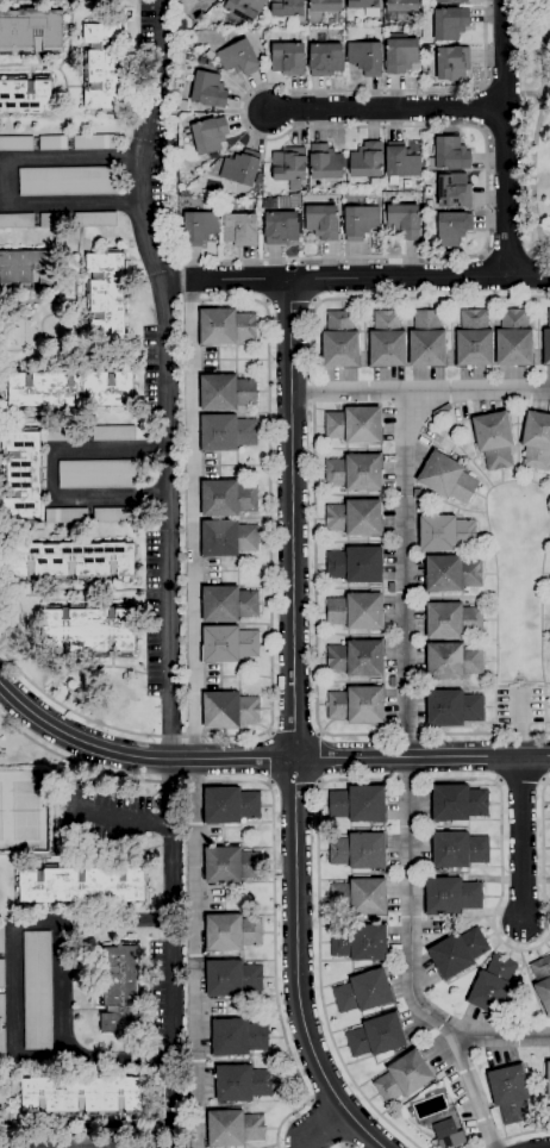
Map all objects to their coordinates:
building: (196, 0)
building: (198, 0)
building: (450, 1)
building: (324, 6)
building: (401, 6)
building: (364, 7)
building: (244, 8)
building: (287, 8)
building: (450, 24)
building: (181, 25)
building: (31, 32)
building: (417, 32)
road: (542, 46)
building: (210, 55)
building: (401, 55)
building: (239, 58)
building: (287, 58)
building: (364, 58)
building: (325, 60)
building: (201, 61)
building: (452, 64)
building: (104, 67)
building: (208, 89)
road: (526, 94)
building: (25, 95)
road: (382, 111)
park: (535, 124)
road: (393, 126)
building: (208, 136)
road: (502, 138)
building: (94, 142)
building: (54, 143)
building: (15, 144)
building: (449, 155)
building: (367, 161)
building: (400, 162)
building: (324, 163)
building: (288, 167)
road: (533, 167)
building: (240, 168)
building: (257, 179)
building: (67, 181)
road: (5, 183)
building: (454, 192)
building: (215, 202)
building: (269, 205)
building: (94, 219)
building: (358, 219)
building: (15, 220)
building: (54, 220)
building: (404, 220)
building: (323, 222)
building: (199, 227)
building: (238, 227)
building: (280, 227)
building: (449, 227)
road: (537, 244)
road: (506, 252)
building: (25, 267)
road: (370, 277)
building: (106, 297)
road: (390, 299)
road: (289, 304)
building: (225, 327)
building: (474, 339)
building: (514, 339)
building: (387, 341)
building: (427, 341)
building: (340, 342)
building: (546, 342)
road: (164, 376)
building: (70, 387)
road: (420, 391)
building: (226, 393)
building: (354, 425)
building: (113, 433)
building: (226, 433)
building: (62, 435)
building: (494, 441)
building: (536, 441)
building: (21, 474)
road: (51, 474)
building: (96, 474)
building: (355, 474)
building: (448, 479)
building: (227, 498)
road: (269, 510)
building: (65, 516)
building: (115, 516)
building: (355, 518)
building: (445, 534)
building: (227, 538)
building: (74, 561)
building: (355, 566)
building: (451, 574)
road: (313, 597)
road: (519, 597)
building: (229, 604)
building: (356, 612)
building: (452, 620)
building: (88, 630)
building: (227, 644)
building: (356, 659)
building: (452, 662)
building: (356, 705)
building: (454, 709)
building: (229, 710)
road: (69, 711)
road: (193, 713)
road: (519, 722)
road: (293, 726)
road: (294, 731)
road: (471, 735)
road: (269, 759)
road: (320, 759)
road: (264, 760)
road: (85, 767)
road: (407, 770)
road: (294, 785)
building: (458, 803)
building: (358, 804)
building: (230, 806)
park: (23, 811)
road: (121, 816)
road: (520, 838)
road: (500, 843)
road: (542, 843)
building: (458, 850)
building: (358, 851)
building: (231, 865)
building: (81, 884)
road: (170, 894)
building: (452, 896)
building: (360, 897)
building: (231, 932)
road: (274, 932)
building: (0, 938)
building: (360, 943)
road: (318, 944)
building: (457, 953)
building: (0, 973)
building: (231, 979)
building: (542, 981)
building: (493, 986)
building: (120, 990)
building: (37, 991)
building: (363, 992)
road: (13, 1000)
building: (1, 1021)
building: (376, 1036)
building: (238, 1037)
building: (404, 1078)
building: (548, 1078)
building: (242, 1084)
road: (473, 1091)
building: (510, 1093)
building: (81, 1097)
road: (326, 1127)
building: (233, 1129)
building: (444, 1129)
road: (515, 1137)
road: (482, 1147)

